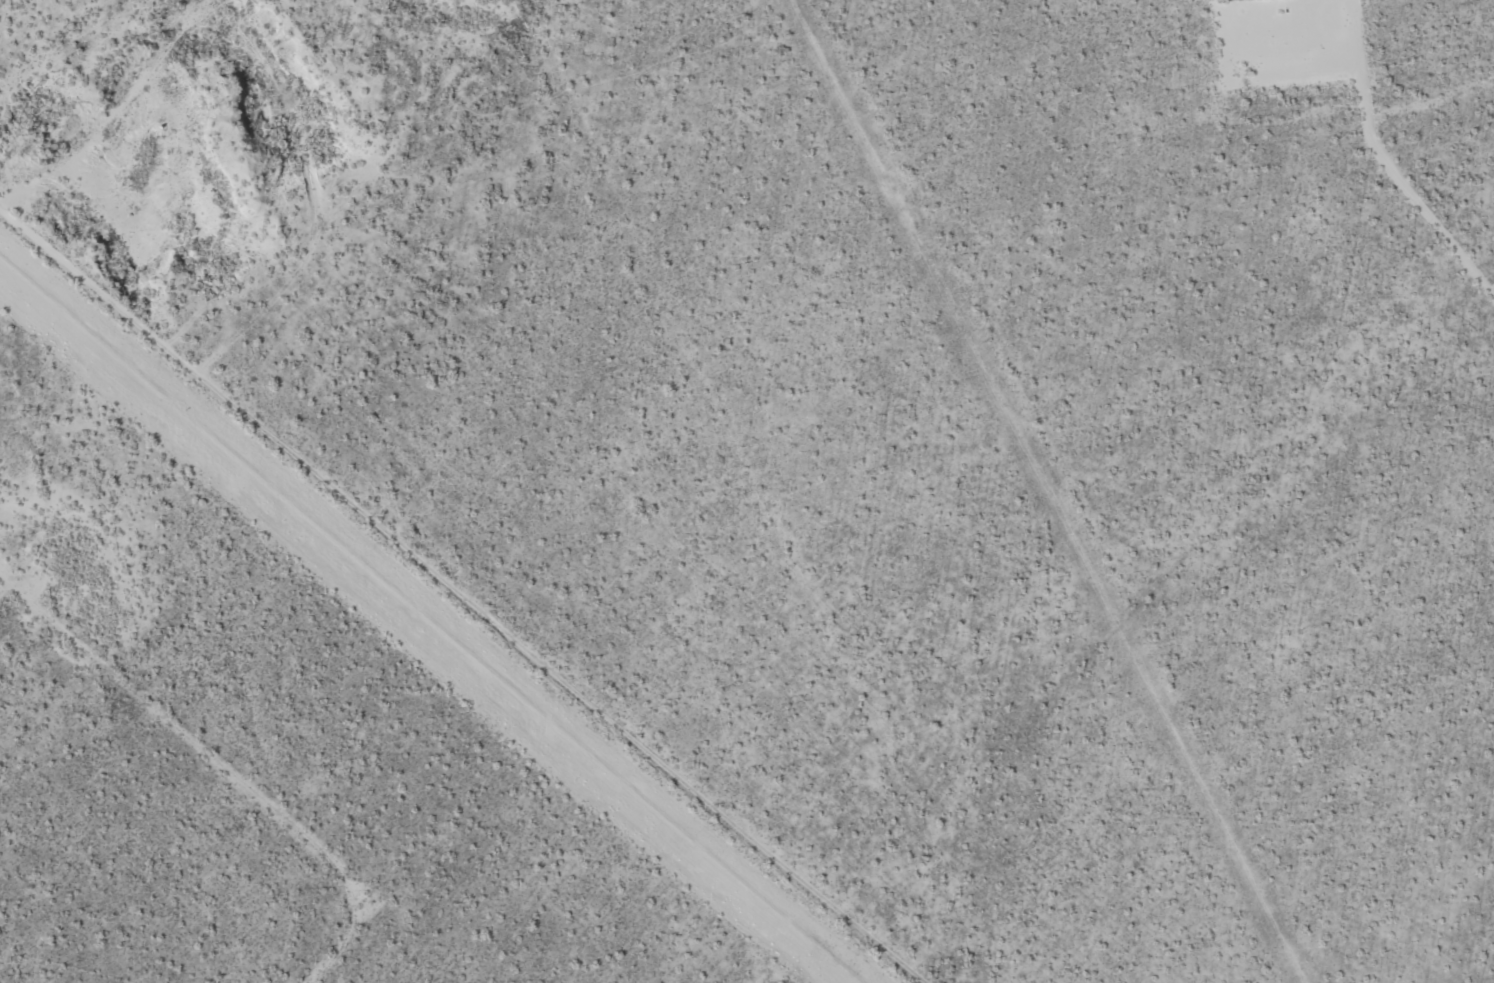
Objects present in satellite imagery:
road: (219, 758)
road: (324, 967)

